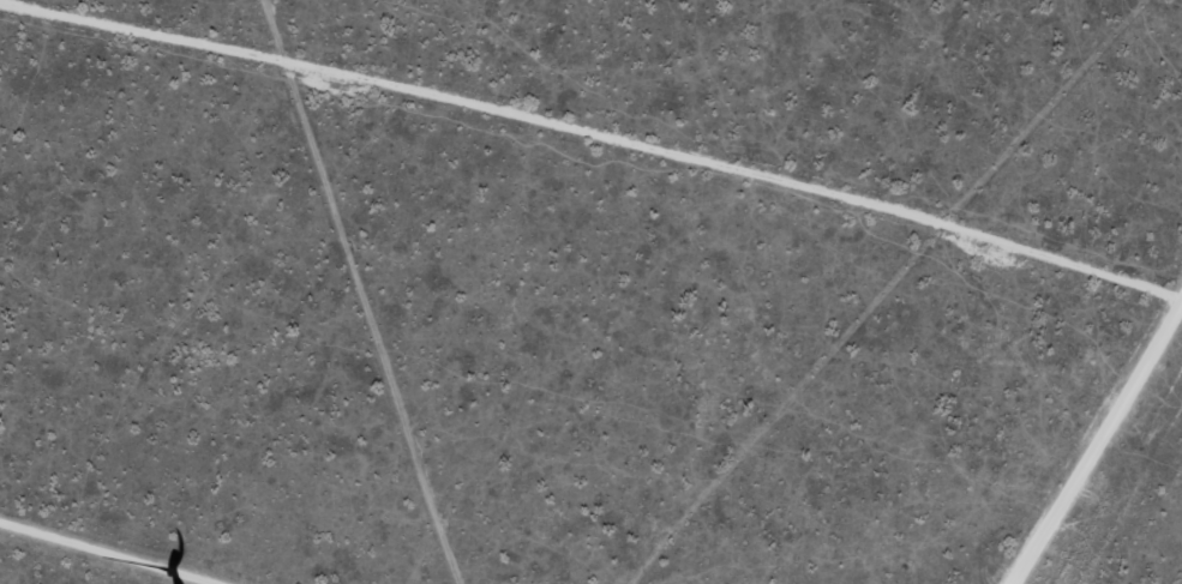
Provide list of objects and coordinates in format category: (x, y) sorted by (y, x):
road: (924, 281)

